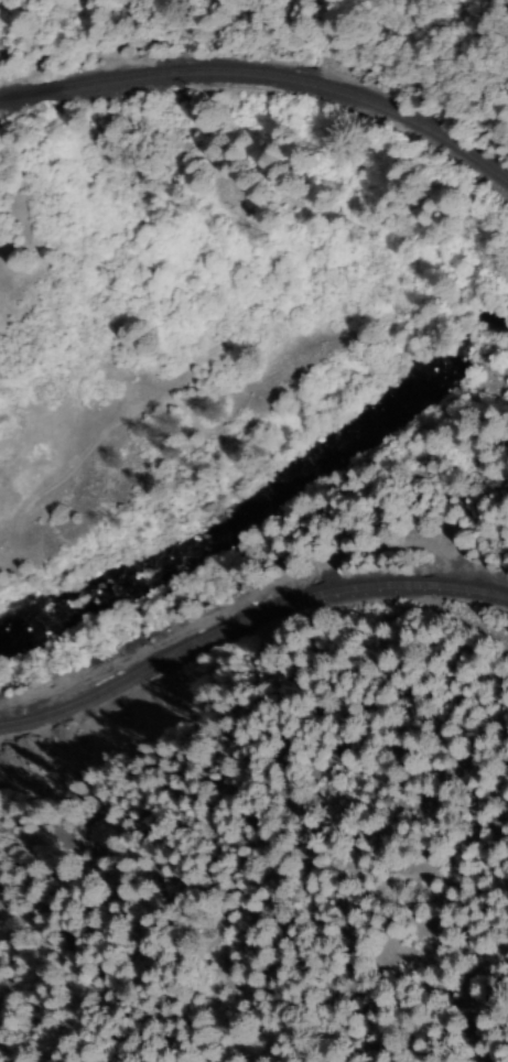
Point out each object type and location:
railway: (266, 77)
road: (195, 431)
river: (250, 479)
railway: (349, 588)
railway: (102, 690)

